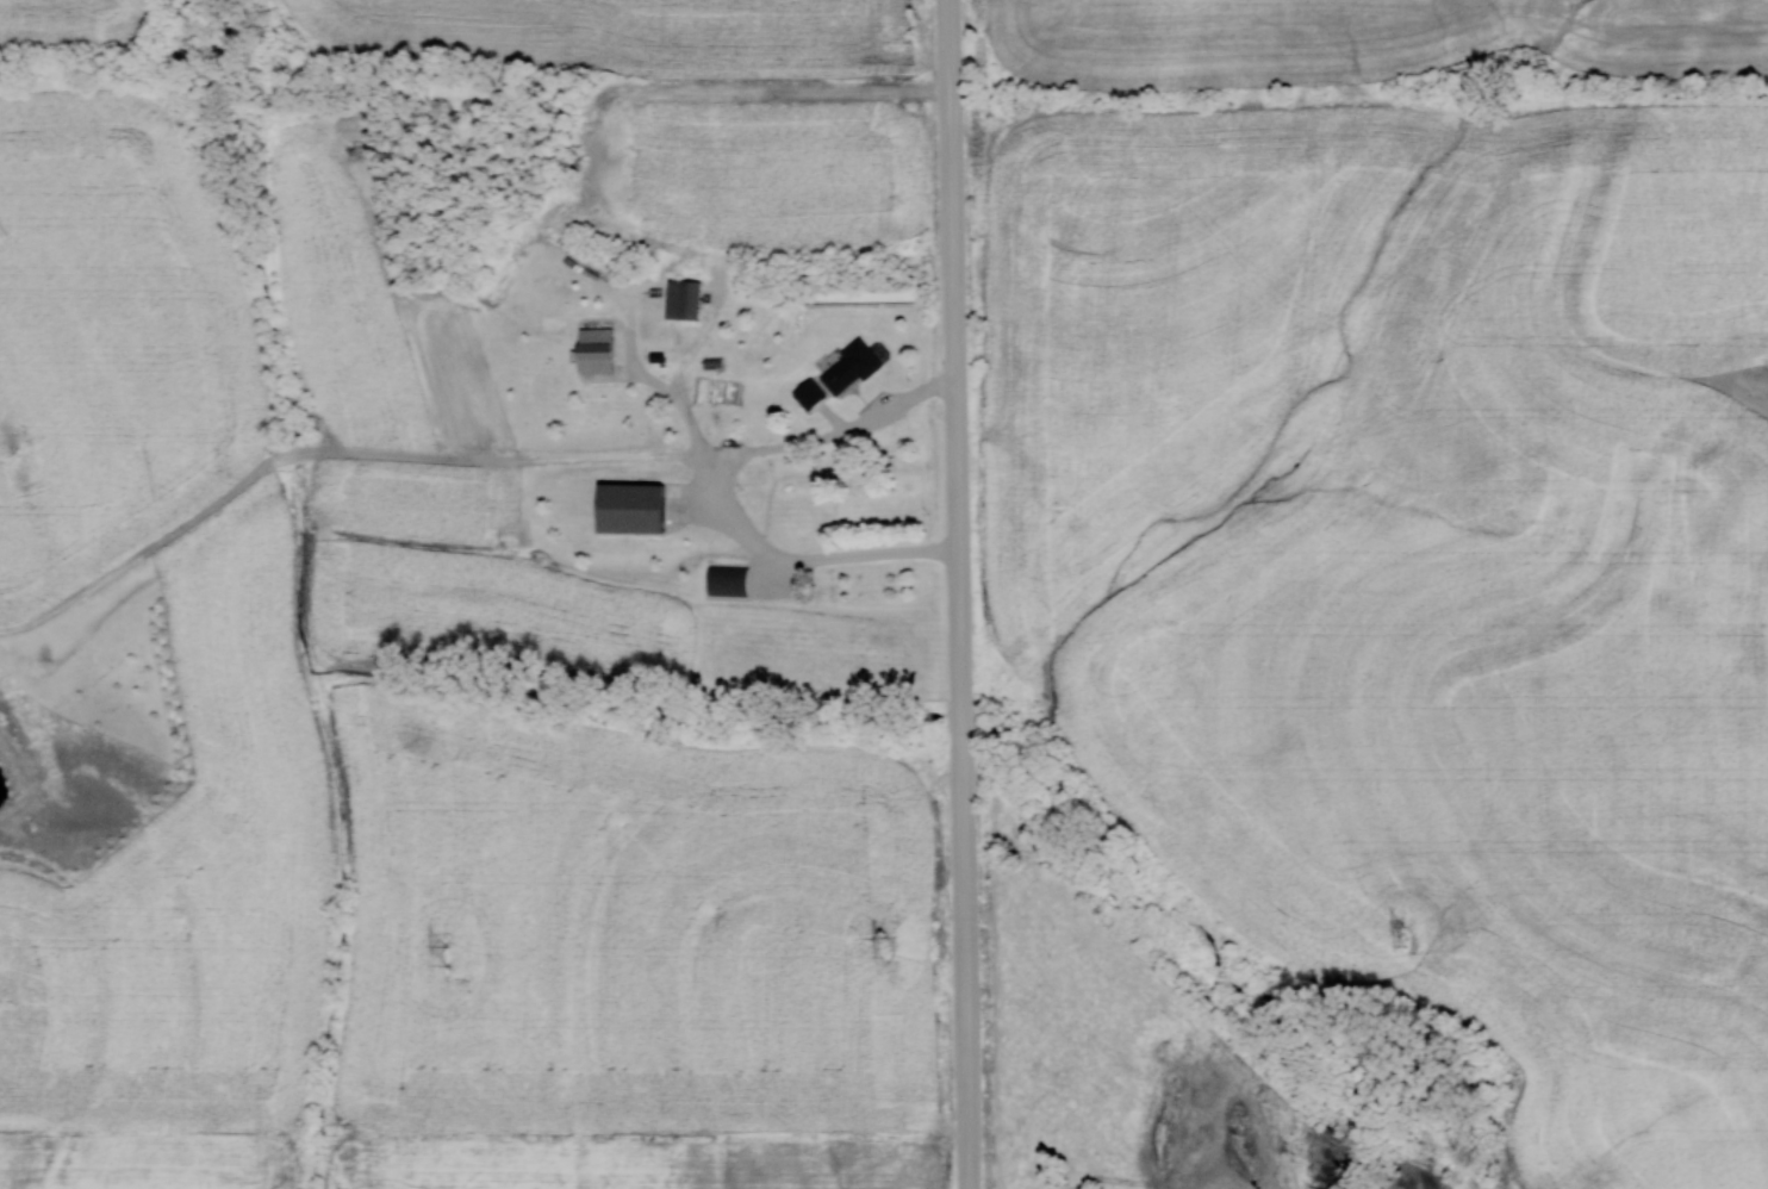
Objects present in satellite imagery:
building: (687, 299)
building: (602, 350)
building: (855, 367)
building: (813, 394)
building: (635, 509)
building: (730, 581)
road: (996, 593)
power tower: (1405, 936)
power tower: (885, 947)
power tower: (438, 955)

